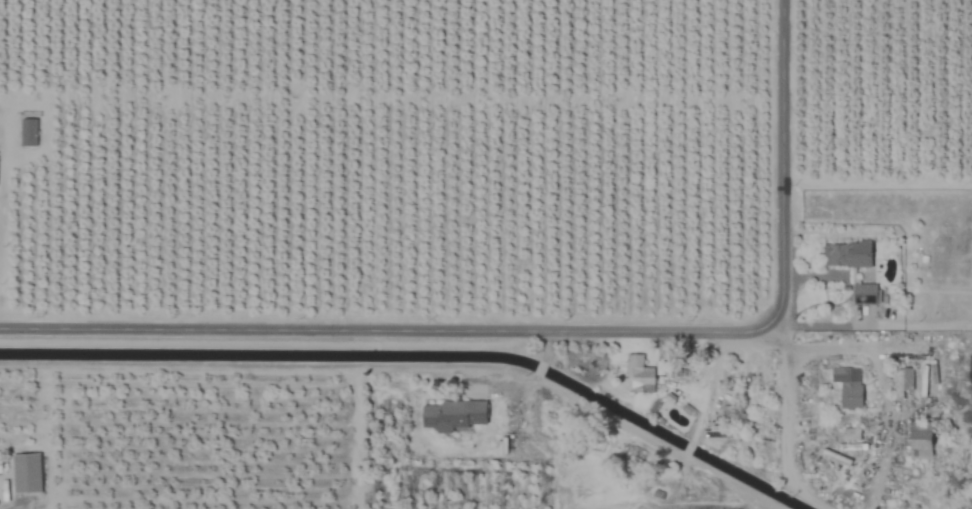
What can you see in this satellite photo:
building: (28, 132)
road: (1, 164)
road: (780, 177)
building: (847, 255)
building: (865, 294)
road: (876, 321)
road: (374, 330)
road: (830, 342)
building: (639, 375)
building: (848, 382)
building: (900, 383)
road: (789, 399)
building: (453, 414)
building: (725, 414)
building: (722, 433)
building: (921, 441)
building: (0, 464)
building: (27, 473)

